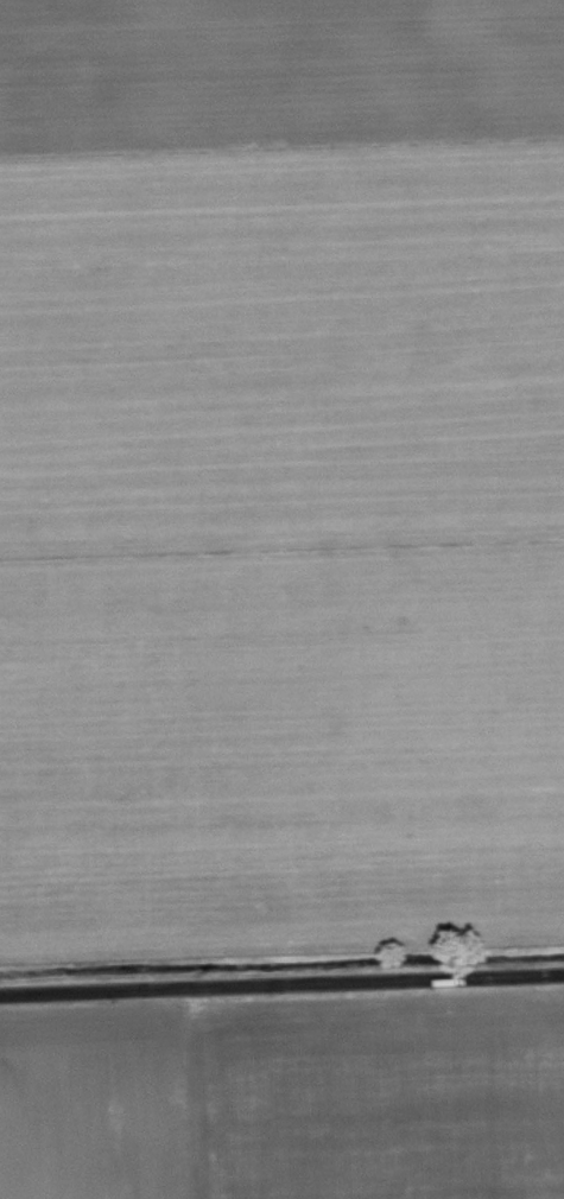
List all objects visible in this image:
road: (281, 984)

